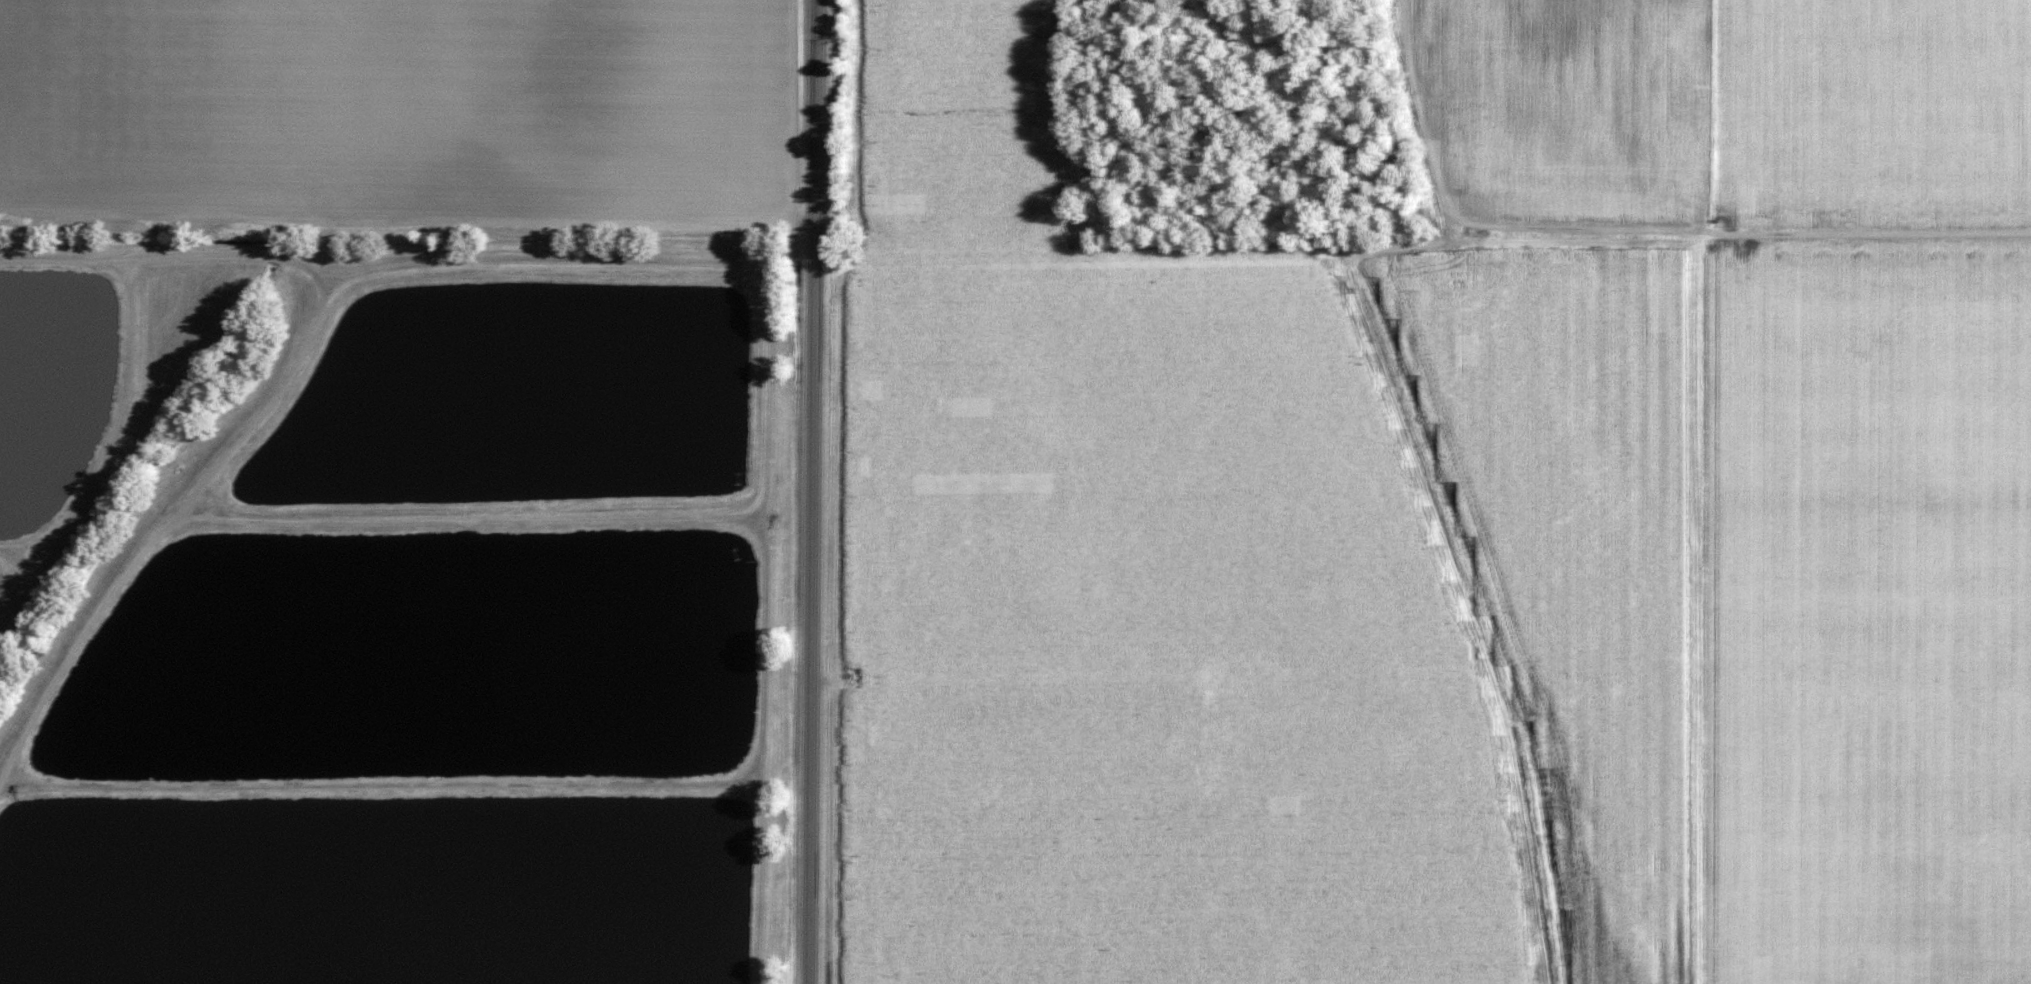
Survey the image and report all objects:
road: (810, 491)

